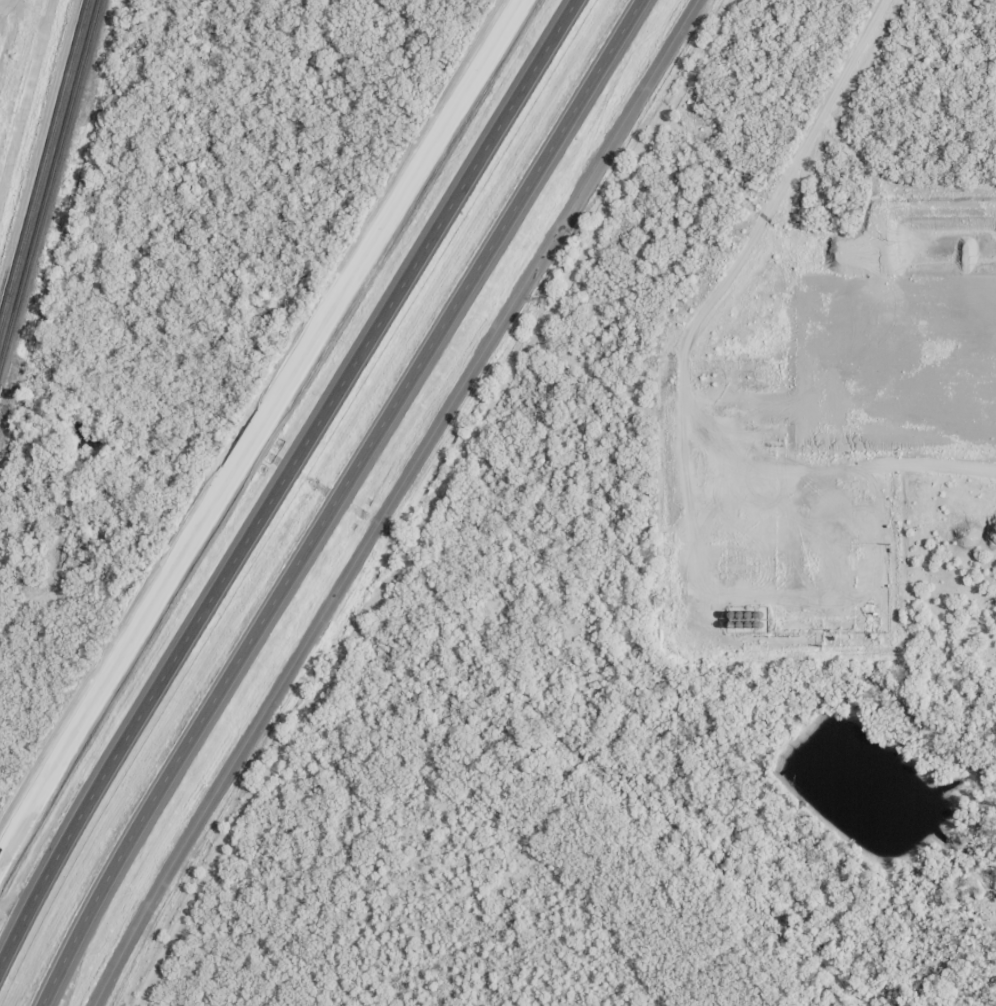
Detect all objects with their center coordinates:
railway: (49, 183)
road: (261, 427)
road: (283, 480)
road: (336, 499)
road: (391, 499)

